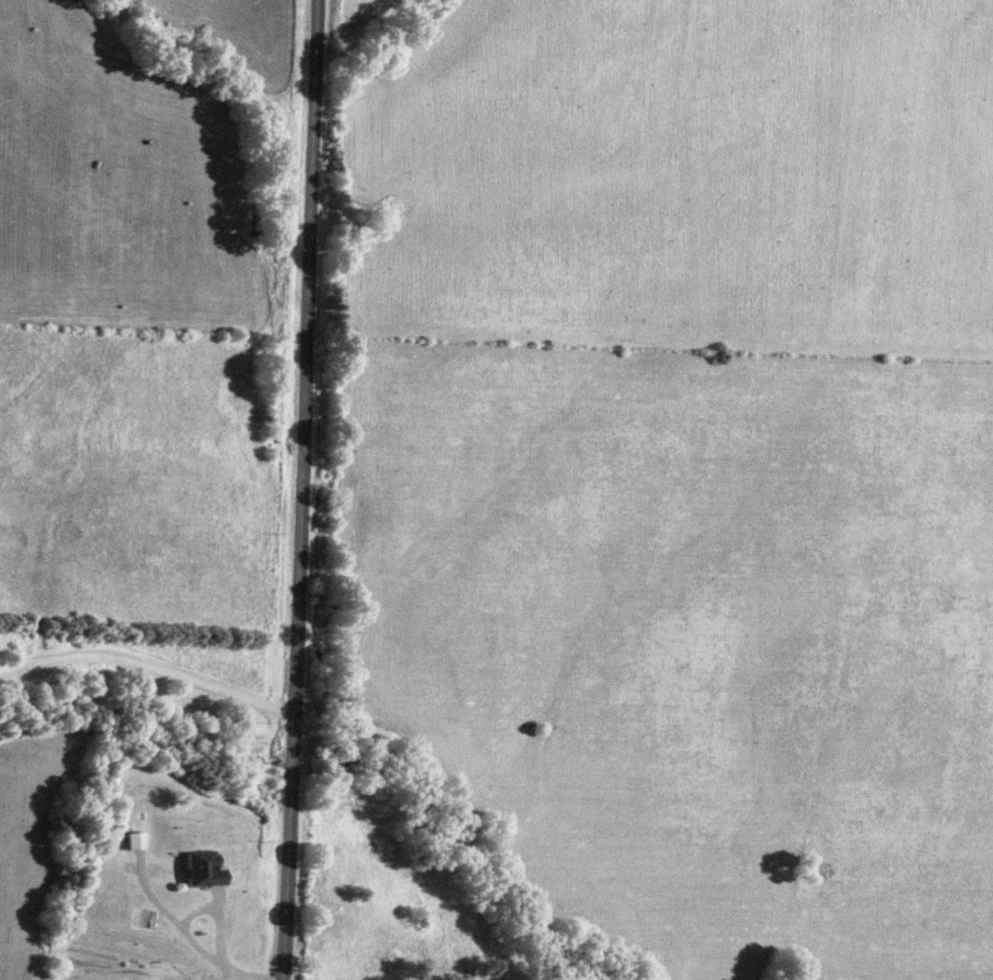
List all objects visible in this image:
road: (303, 490)
road: (149, 670)
building: (130, 841)
building: (196, 869)

